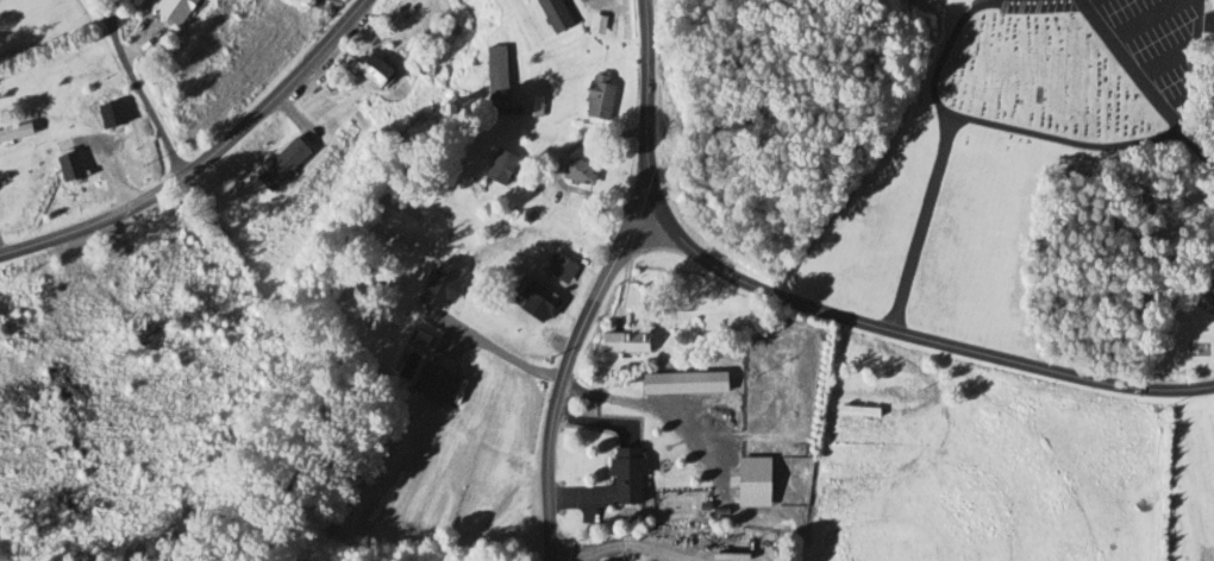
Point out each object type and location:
building: (169, 11)
building: (550, 14)
building: (593, 25)
building: (369, 70)
building: (493, 73)
road: (1145, 87)
road: (133, 90)
building: (594, 96)
building: (527, 106)
road: (646, 106)
building: (106, 116)
road: (1058, 125)
building: (13, 134)
road: (201, 157)
road: (933, 158)
building: (277, 164)
building: (495, 168)
building: (65, 169)
road: (557, 171)
building: (572, 171)
building: (401, 265)
building: (551, 267)
building: (64, 320)
building: (489, 321)
road: (921, 340)
building: (619, 341)
road: (502, 353)
road: (564, 372)
building: (430, 383)
building: (678, 383)
building: (855, 412)
building: (620, 475)
building: (749, 481)
road: (577, 560)

